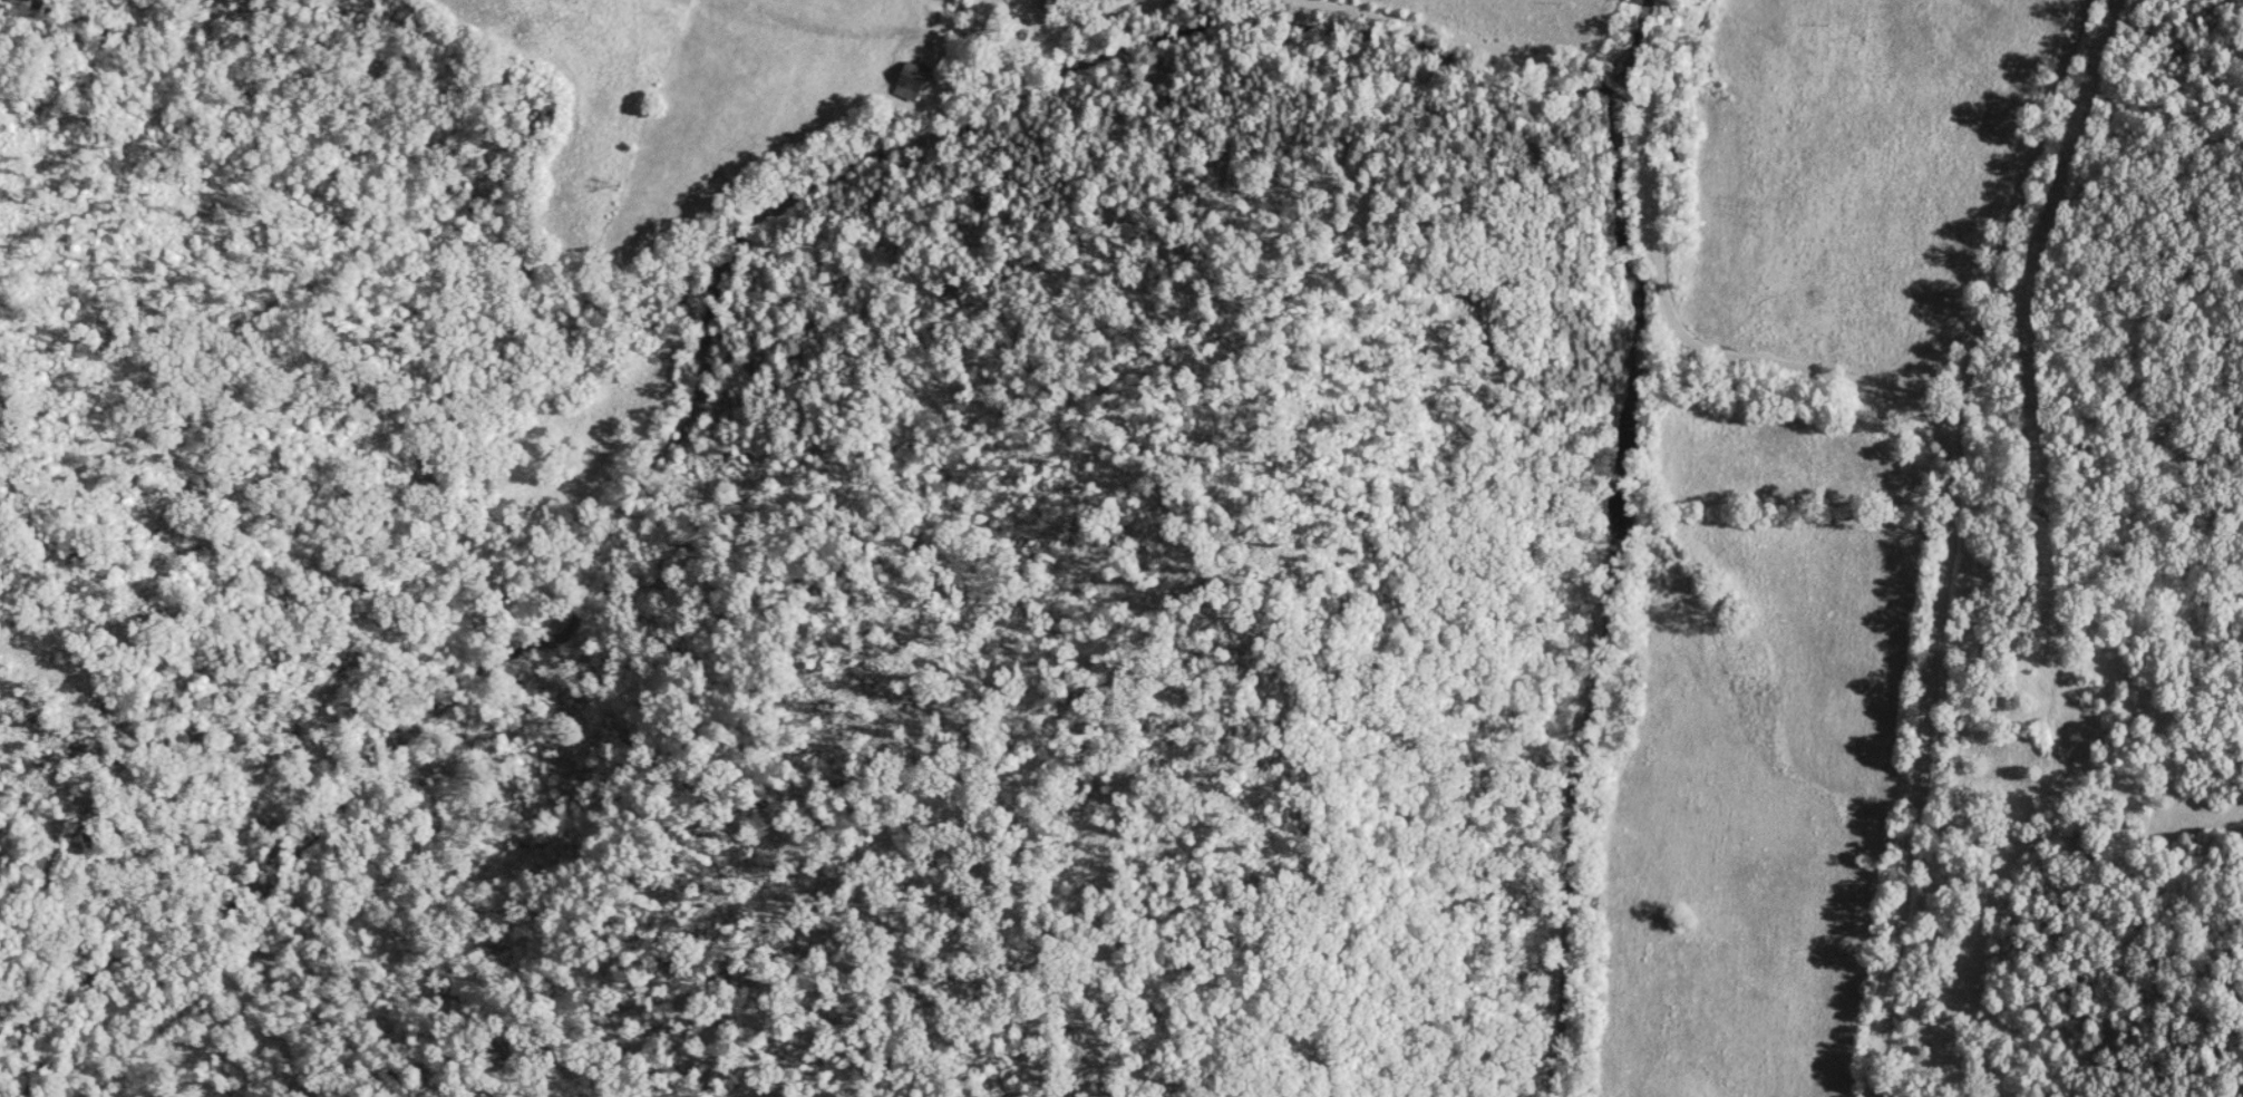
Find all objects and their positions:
building: (1051, 4)
building: (915, 84)
road: (1650, 198)
road: (1946, 541)

